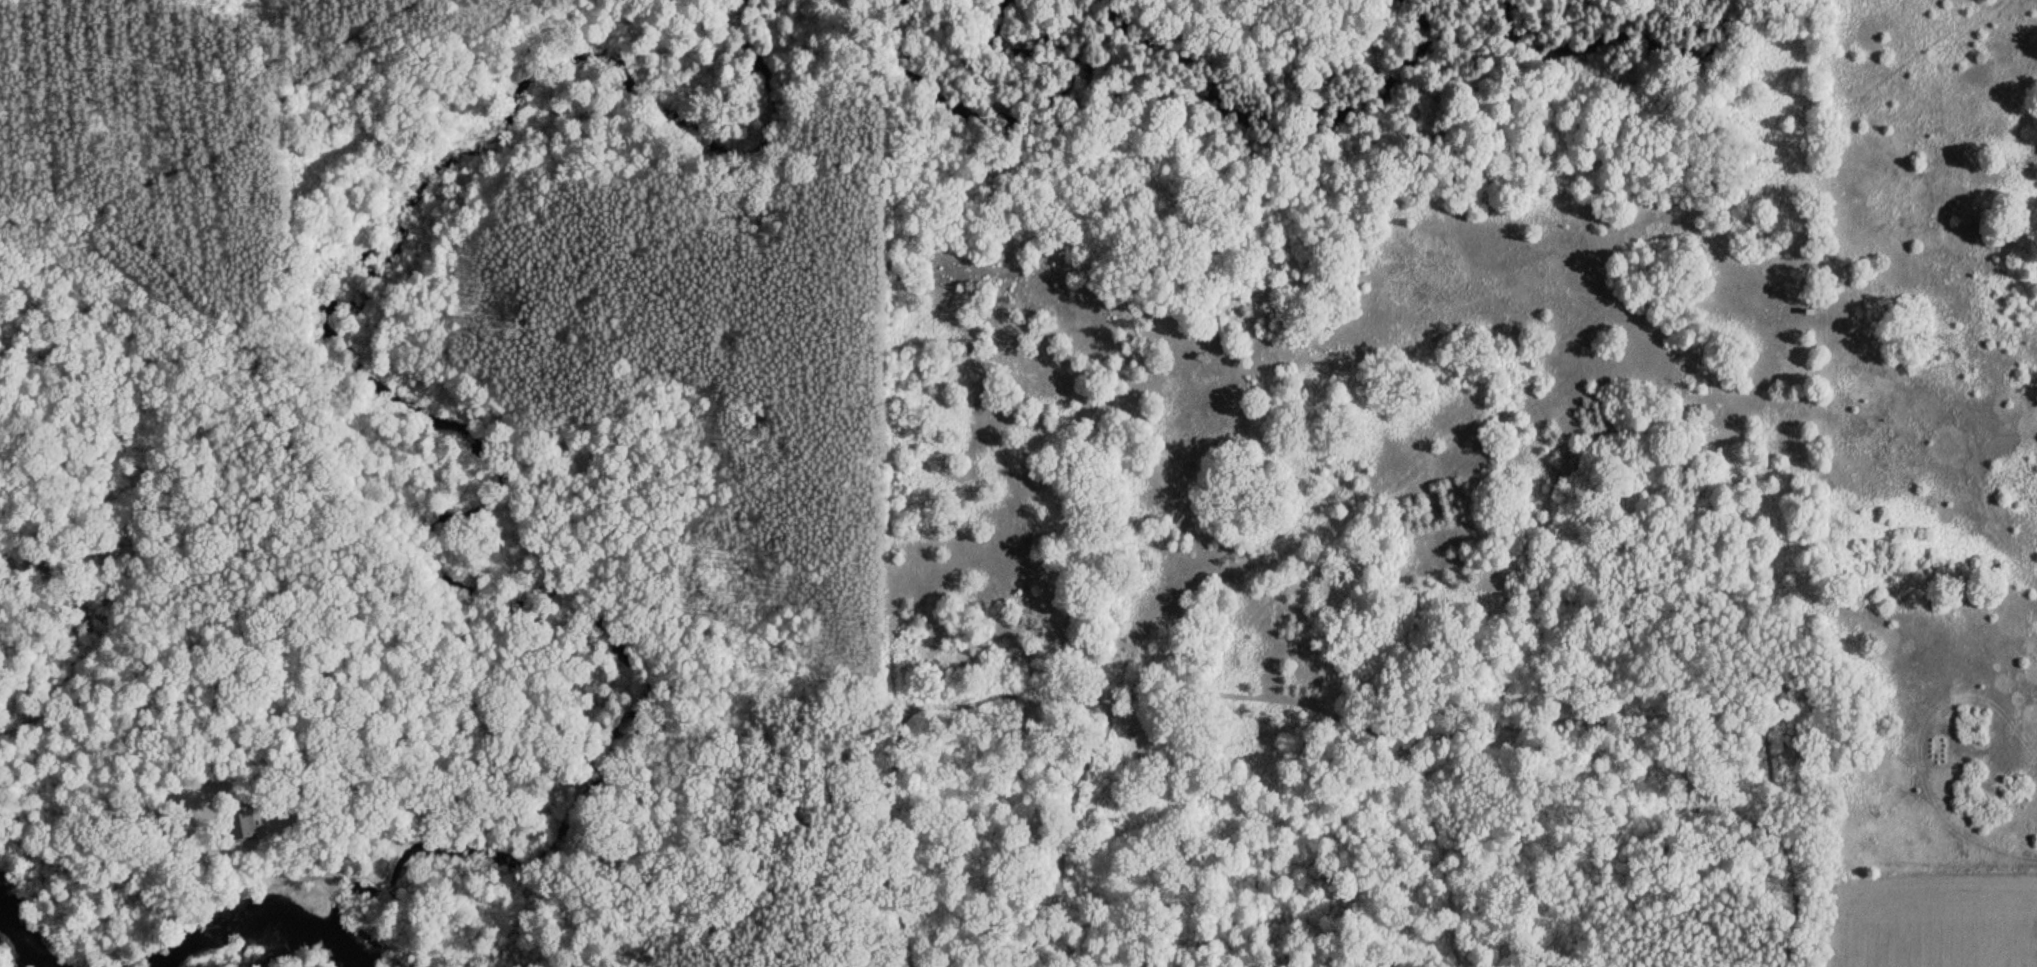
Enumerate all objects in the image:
river: (255, 922)
river: (24, 946)

